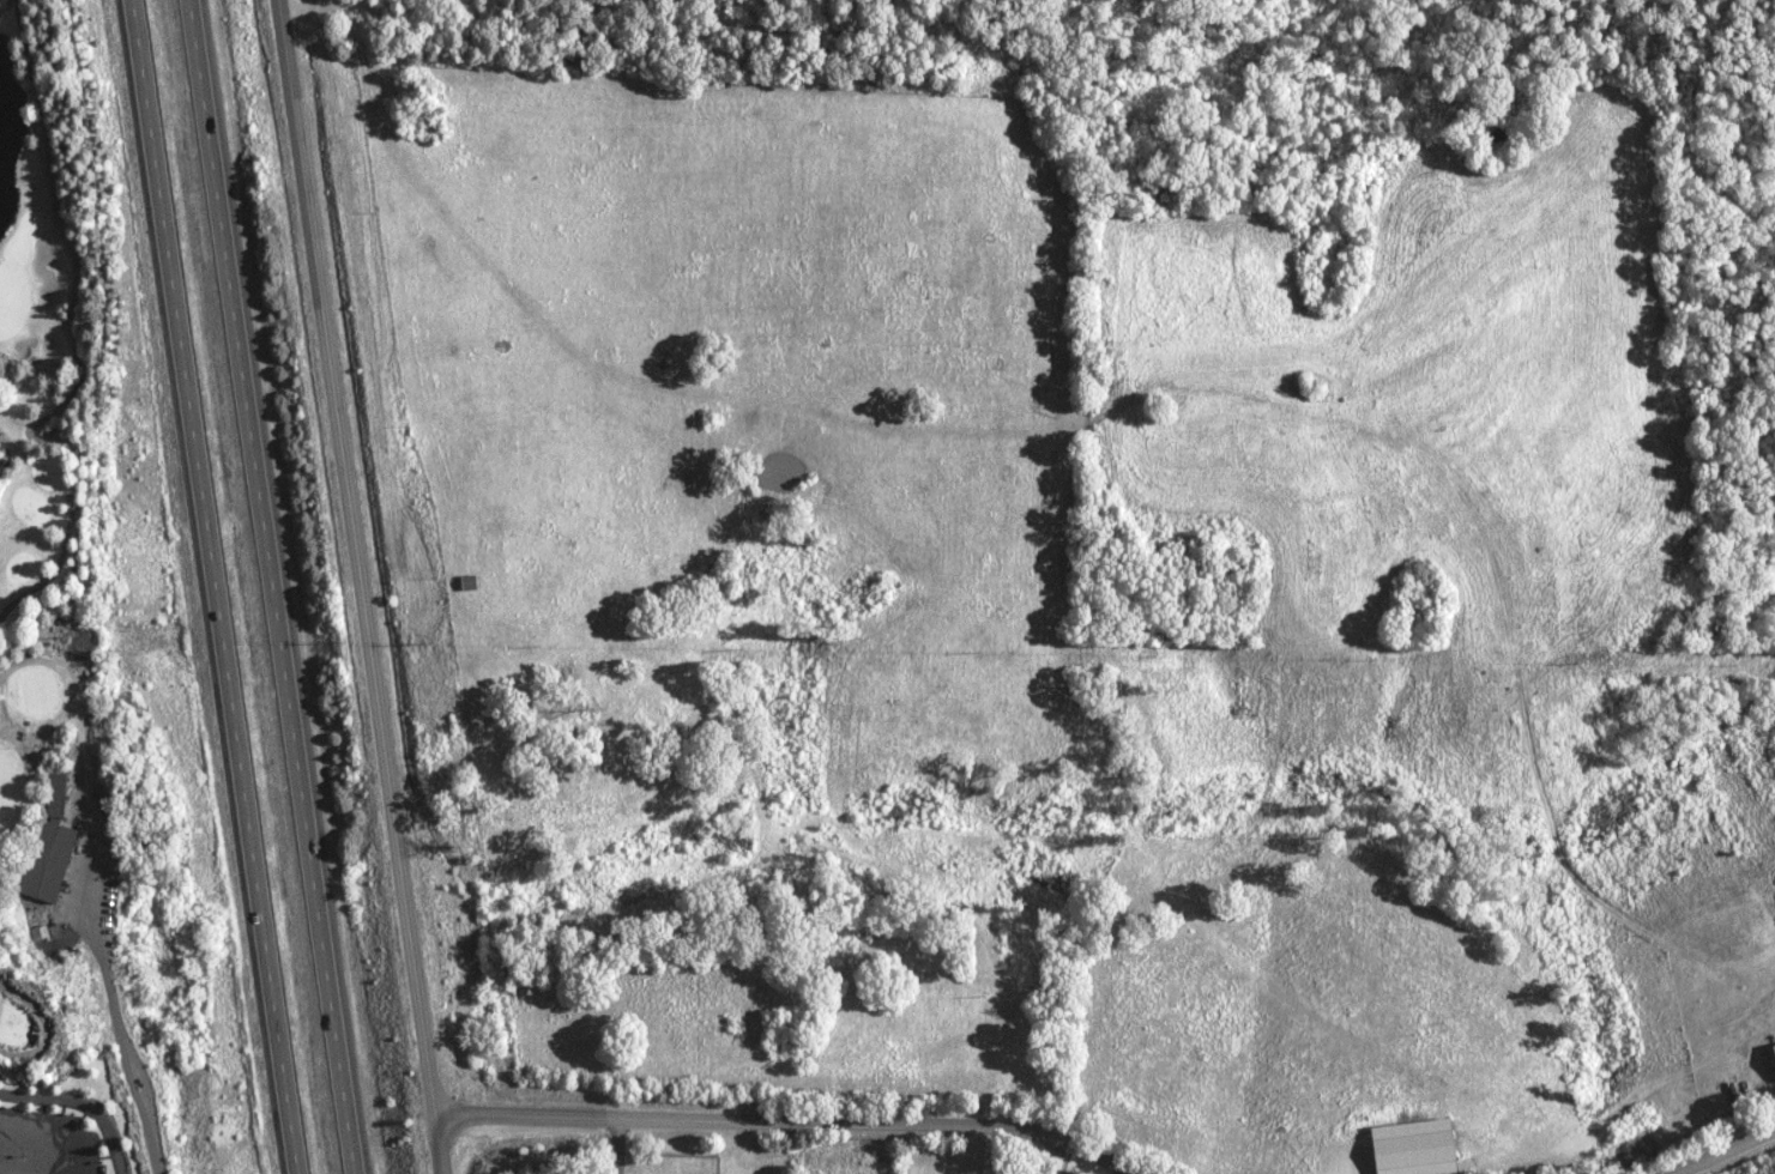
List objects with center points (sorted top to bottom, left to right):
road: (70, 343)
park: (37, 438)
road: (351, 556)
road: (219, 586)
road: (266, 586)
building: (52, 860)
park: (25, 1023)
road: (50, 1025)
building: (1769, 1057)
road: (84, 1105)
road: (780, 1121)
road: (427, 1143)
building: (1405, 1146)
road: (1721, 1151)

